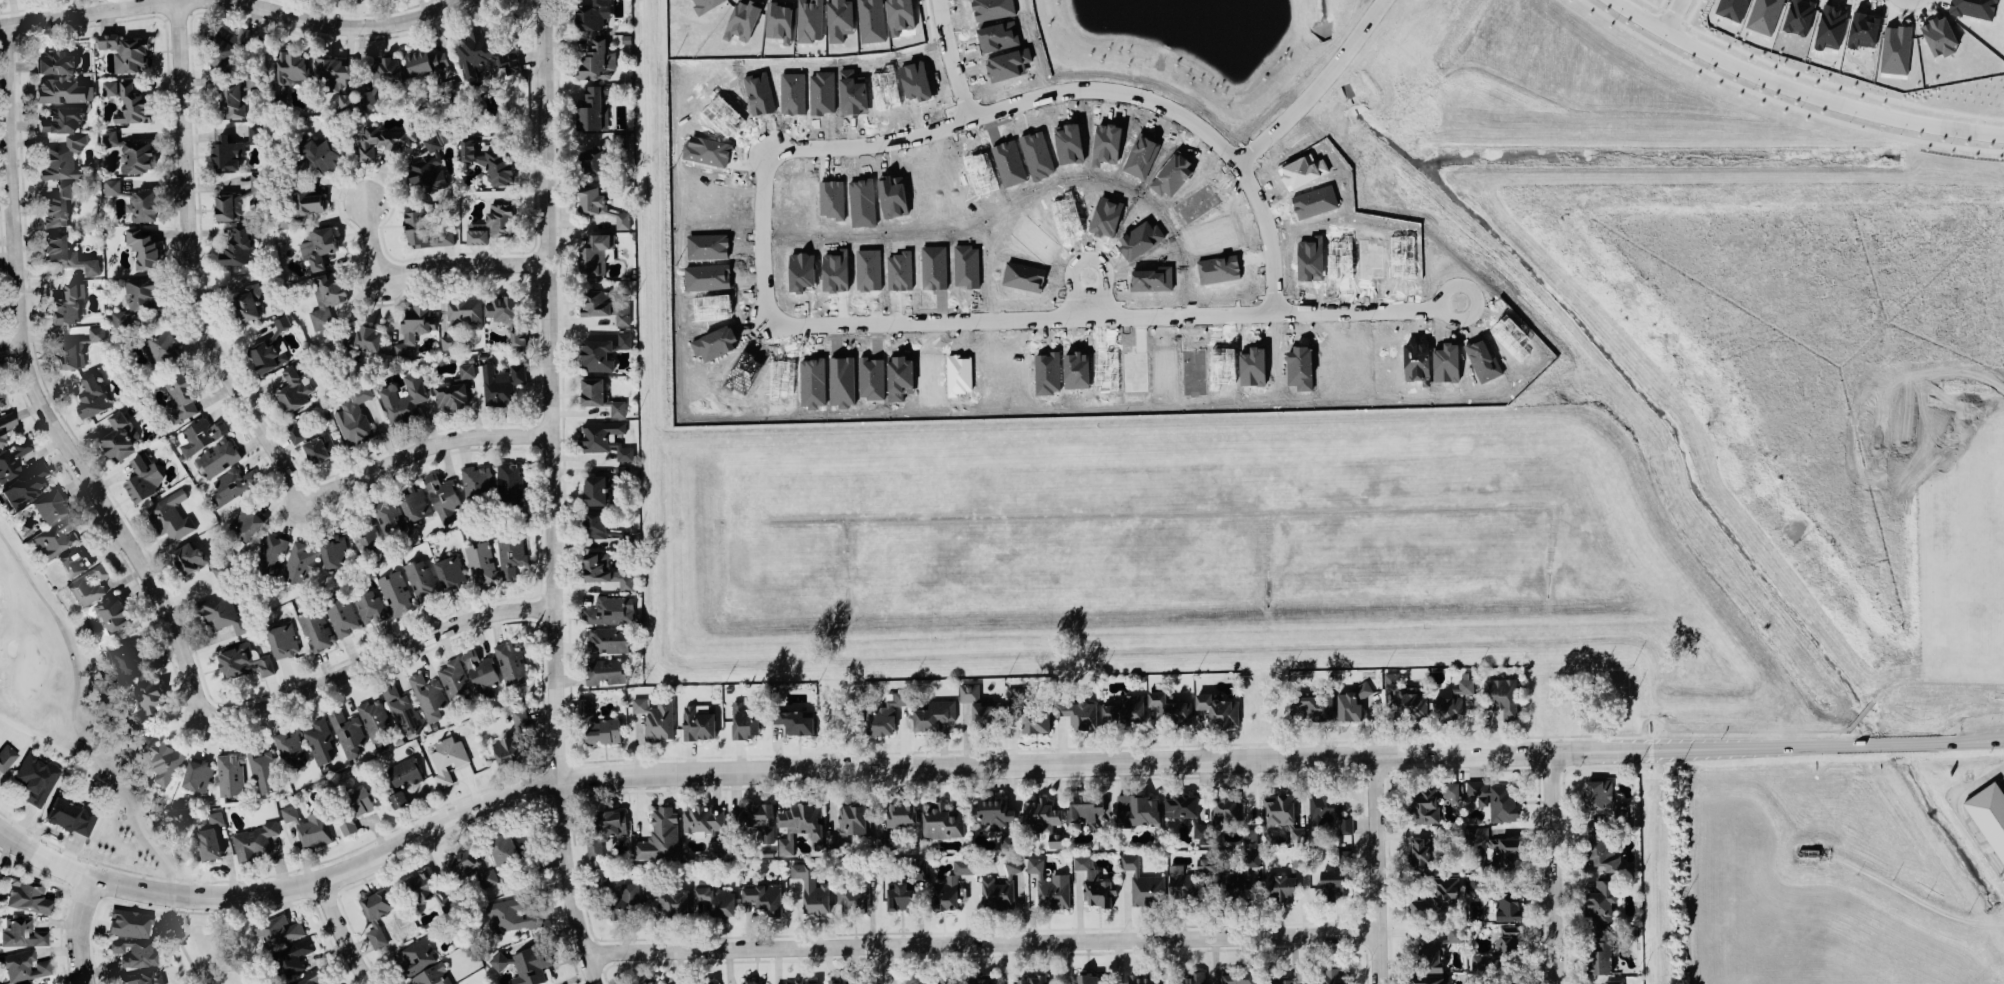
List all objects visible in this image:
building: (1732, 8)
building: (1974, 8)
road: (76, 11)
building: (592, 14)
road: (1673, 15)
building: (743, 17)
building: (780, 19)
building: (809, 19)
building: (839, 19)
building: (871, 20)
road: (357, 21)
building: (1939, 34)
building: (227, 45)
building: (125, 48)
building: (483, 54)
building: (597, 60)
building: (55, 61)
building: (426, 61)
building: (331, 72)
building: (287, 75)
building: (381, 78)
building: (253, 80)
building: (109, 86)
building: (448, 86)
building: (63, 90)
road: (1802, 90)
building: (228, 96)
building: (346, 100)
building: (132, 104)
building: (592, 107)
building: (61, 118)
road: (1211, 137)
building: (382, 138)
building: (234, 146)
building: (323, 151)
building: (130, 152)
building: (600, 154)
building: (62, 158)
building: (489, 161)
building: (427, 167)
building: (238, 198)
building: (133, 200)
building: (307, 200)
building: (600, 203)
building: (57, 206)
building: (424, 229)
road: (1270, 236)
building: (143, 247)
building: (238, 247)
building: (318, 247)
building: (66, 251)
building: (596, 252)
road: (195, 262)
road: (433, 264)
building: (325, 296)
building: (137, 299)
building: (245, 300)
building: (67, 304)
building: (603, 305)
building: (504, 307)
building: (281, 321)
road: (852, 324)
building: (415, 326)
building: (96, 332)
building: (517, 335)
building: (361, 339)
building: (161, 345)
building: (602, 351)
building: (268, 353)
building: (70, 354)
building: (501, 383)
building: (293, 387)
building: (454, 388)
road: (42, 390)
building: (179, 396)
building: (600, 396)
building: (92, 397)
building: (403, 398)
building: (1, 400)
building: (354, 415)
building: (6, 423)
building: (294, 431)
building: (200, 433)
building: (119, 436)
building: (605, 437)
road: (428, 445)
building: (319, 447)
building: (218, 457)
building: (13, 458)
building: (143, 477)
building: (478, 481)
building: (510, 482)
building: (230, 484)
building: (23, 486)
building: (603, 486)
road: (557, 494)
building: (442, 495)
building: (416, 503)
building: (170, 514)
building: (389, 515)
building: (247, 520)
building: (595, 523)
building: (53, 524)
building: (625, 534)
building: (365, 535)
building: (334, 551)
building: (271, 553)
building: (510, 553)
building: (189, 556)
building: (73, 560)
building: (481, 560)
building: (298, 561)
building: (604, 570)
building: (450, 571)
building: (421, 578)
building: (88, 584)
building: (395, 592)
building: (369, 605)
building: (607, 610)
building: (221, 612)
building: (113, 613)
building: (340, 615)
building: (315, 629)
building: (607, 638)
building: (282, 640)
road: (381, 654)
building: (128, 656)
building: (243, 659)
building: (511, 660)
building: (604, 669)
building: (482, 671)
building: (454, 677)
building: (1391, 679)
building: (969, 689)
building: (428, 695)
building: (1500, 695)
building: (1354, 697)
building: (147, 701)
building: (1452, 701)
building: (1314, 702)
building: (1410, 702)
building: (1220, 707)
building: (403, 708)
building: (1170, 708)
building: (885, 709)
building: (1078, 709)
building: (1126, 709)
building: (1027, 710)
building: (986, 711)
building: (933, 714)
building: (519, 716)
building: (656, 717)
building: (745, 717)
building: (374, 718)
building: (794, 718)
building: (698, 720)
building: (598, 722)
building: (347, 730)
building: (319, 738)
building: (289, 748)
building: (508, 749)
building: (7, 754)
building: (162, 756)
building: (447, 757)
road: (1035, 762)
road: (106, 765)
park: (100, 766)
building: (265, 771)
building: (403, 772)
building: (230, 773)
building: (197, 774)
building: (35, 778)
building: (1598, 793)
building: (398, 798)
building: (1494, 798)
building: (361, 799)
building: (1431, 799)
building: (1084, 804)
building: (1181, 804)
building: (1137, 805)
building: (1330, 809)
building: (1283, 810)
building: (71, 811)
road: (1961, 811)
building: (994, 813)
building: (1231, 813)
building: (1989, 813)
building: (1043, 816)
building: (897, 817)
building: (755, 818)
building: (800, 819)
building: (850, 820)
building: (941, 820)
building: (345, 821)
building: (705, 821)
building: (309, 825)
building: (605, 830)
building: (1102, 832)
building: (211, 833)
building: (659, 834)
building: (255, 839)
building: (1007, 841)
building: (1496, 843)
building: (1419, 850)
building: (1605, 852)
road: (44, 854)
building: (513, 854)
building: (1344, 854)
building: (963, 863)
building: (468, 865)
road: (1553, 867)
road: (1374, 869)
building: (1237, 875)
building: (1285, 877)
building: (1187, 879)
building: (1334, 879)
building: (1106, 880)
building: (1476, 882)
building: (601, 883)
building: (1143, 883)
building: (419, 885)
building: (812, 885)
building: (1050, 885)
building: (905, 886)
building: (1001, 887)
building: (857, 888)
building: (944, 892)
building: (765, 893)
building: (1436, 894)
building: (28, 896)
building: (718, 896)
building: (670, 899)
building: (1601, 899)
building: (448, 901)
building: (625, 901)
building: (377, 902)
building: (1508, 907)
building: (510, 914)
building: (130, 922)
building: (278, 927)
road: (81, 928)
building: (21, 931)
road: (346, 931)
building: (376, 934)
road: (980, 942)
building: (1501, 946)
building: (1602, 948)
building: (1435, 950)
building: (133, 951)
building: (291, 956)
building: (416, 956)
building: (525, 962)
building: (23, 964)
road: (889, 964)
building: (433, 975)
building: (1328, 975)
building: (141, 976)
building: (1239, 976)
building: (306, 977)
building: (1032, 977)
building: (1089, 977)
building: (1141, 978)
building: (1190, 978)
building: (1276, 978)
building: (1428, 978)
building: (839, 979)
building: (1487, 979)
building: (802, 980)
building: (979, 980)
building: (703, 981)
building: (750, 981)
building: (1613, 981)
building: (23, 982)
building: (650, 983)
building: (950, 983)

